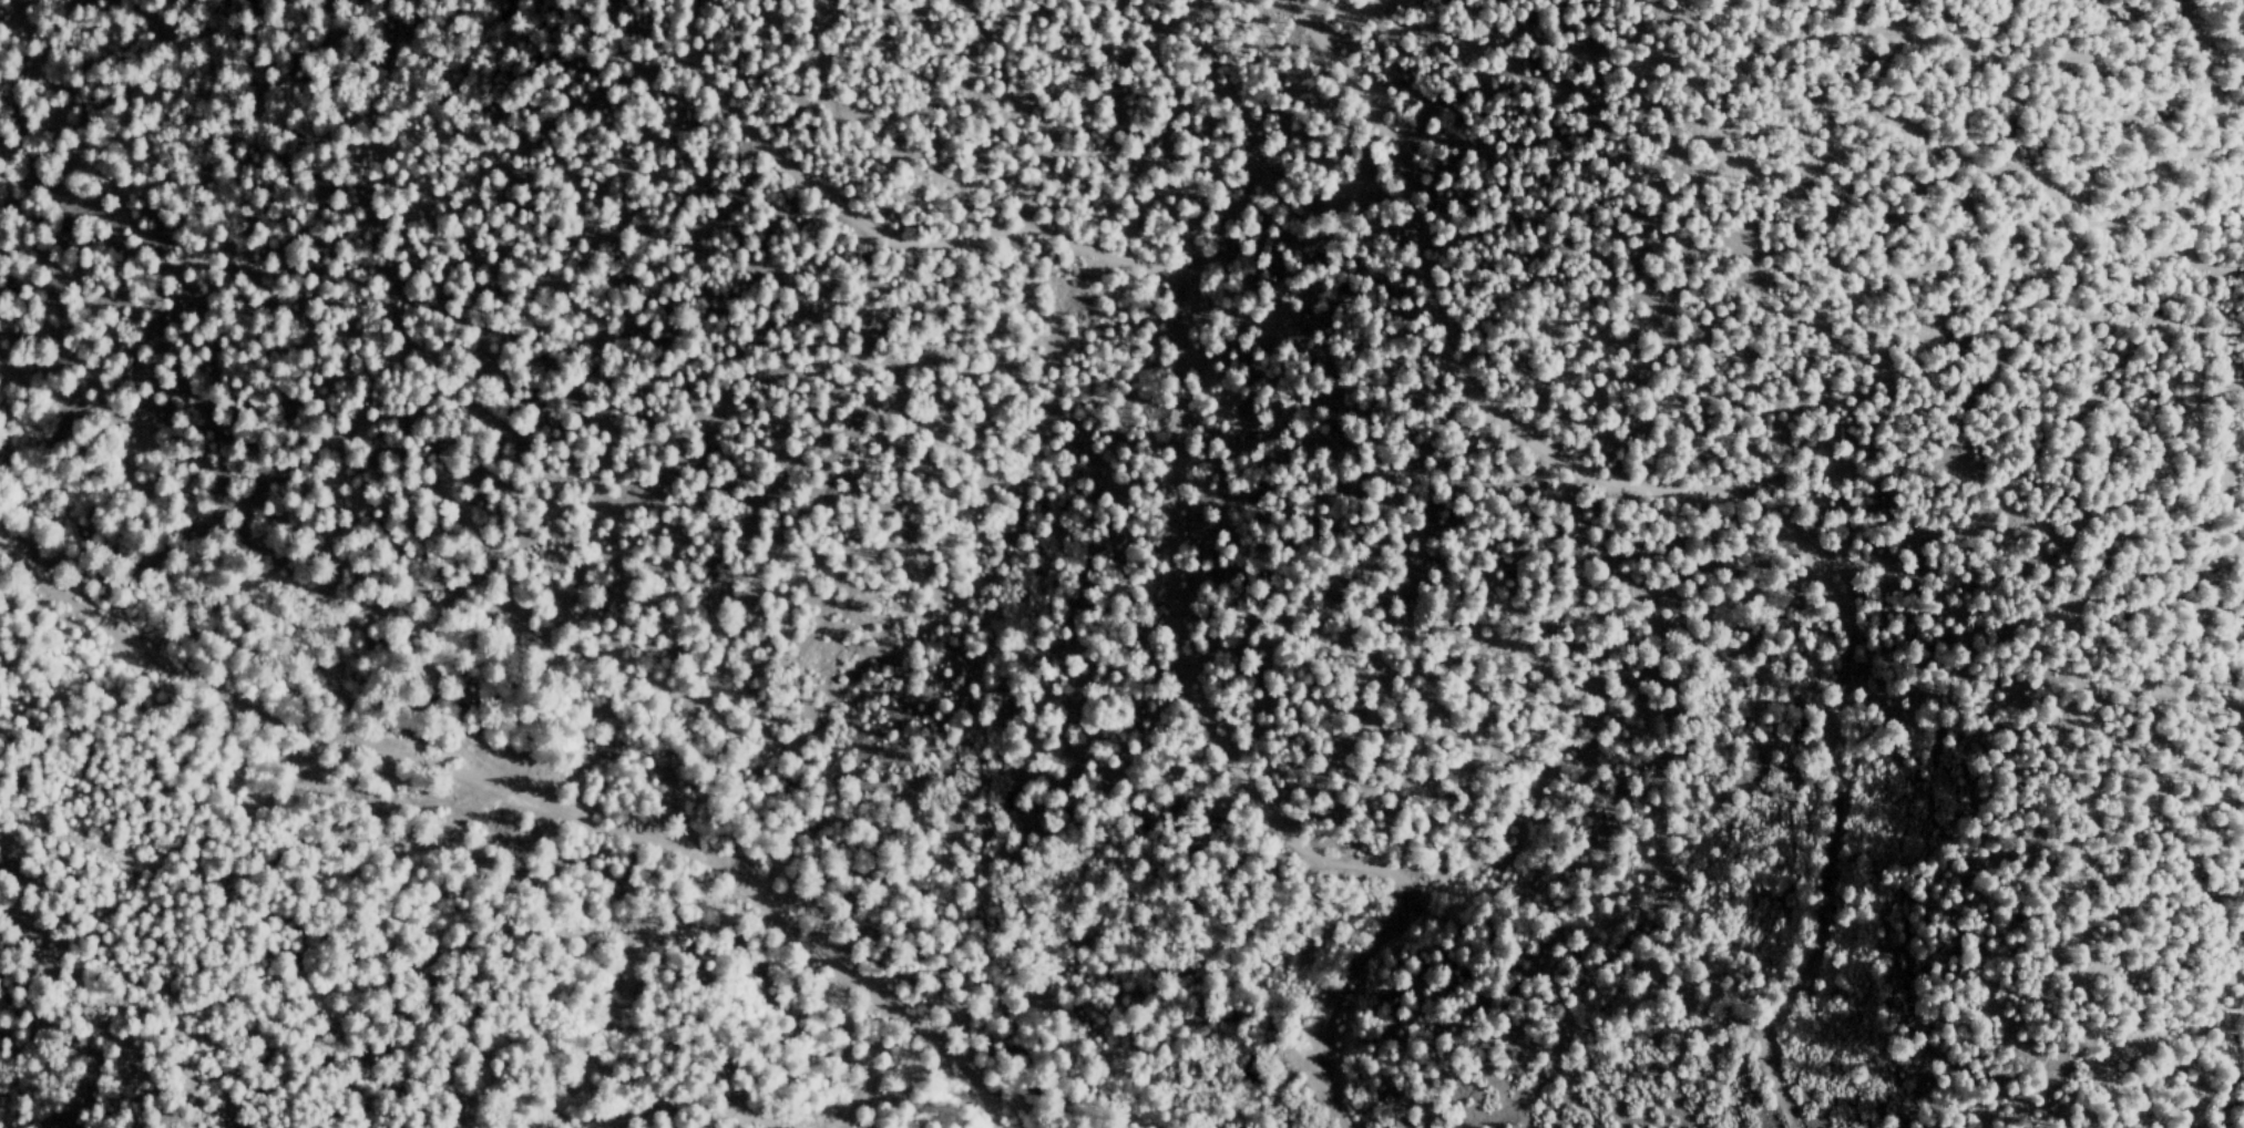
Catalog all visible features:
road: (2204, 160)
road: (1177, 460)
road: (1705, 503)
road: (526, 802)

